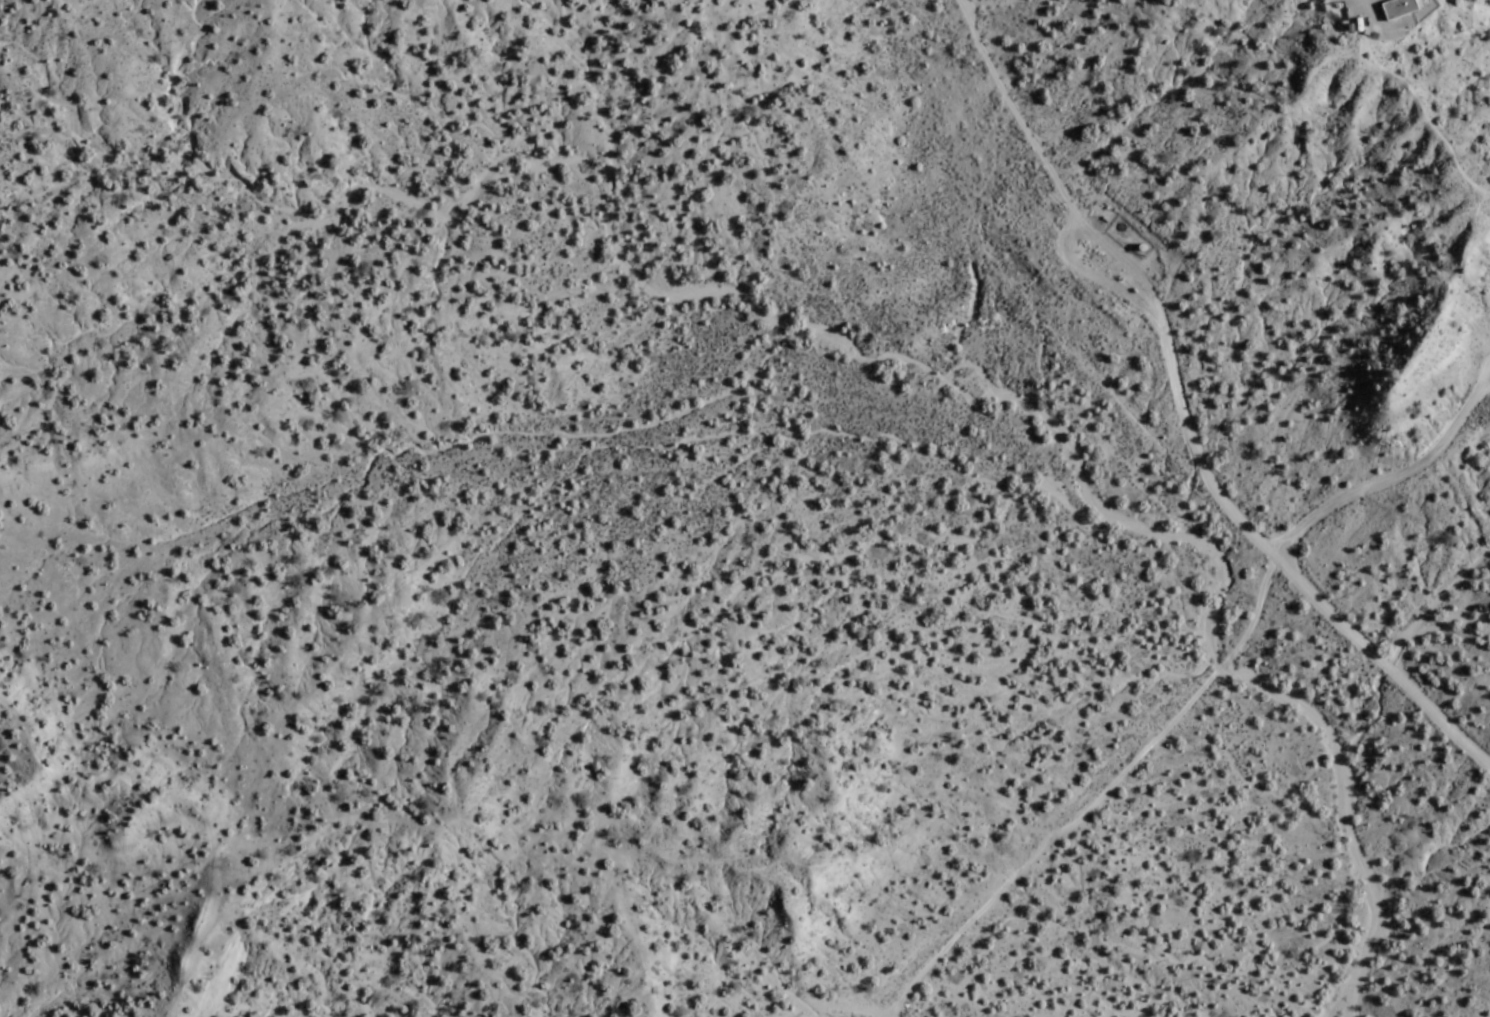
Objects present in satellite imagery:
building: (1398, 7)
road: (1282, 565)
road: (1096, 796)
road: (183, 802)
road: (847, 1008)

